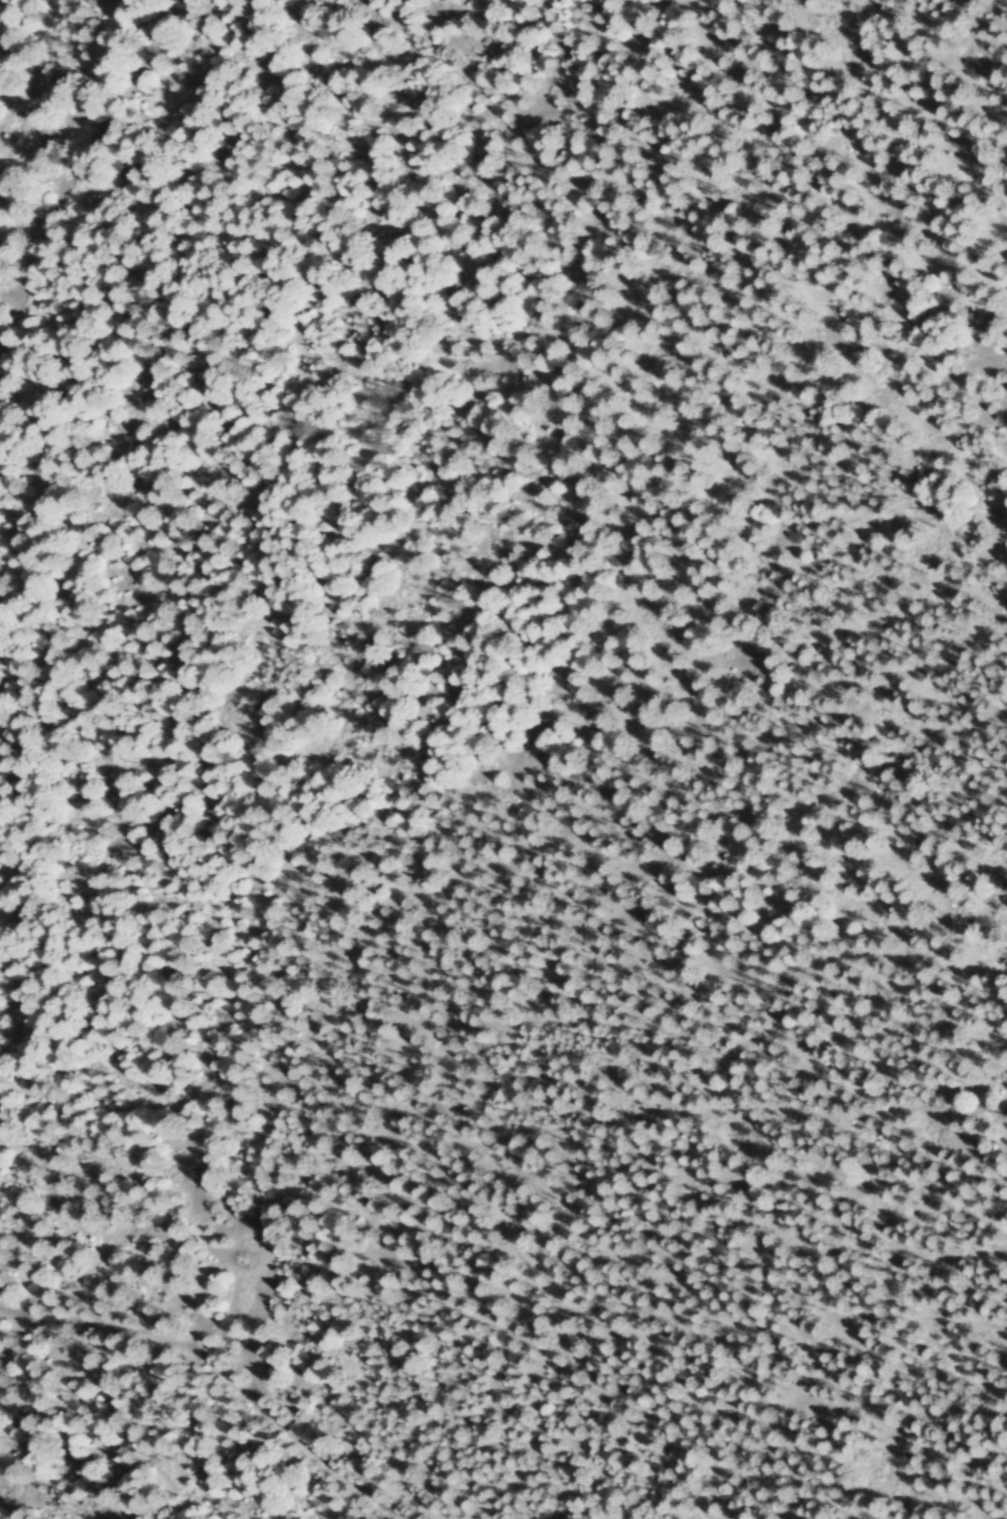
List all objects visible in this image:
road: (16, 267)
road: (221, 1378)

